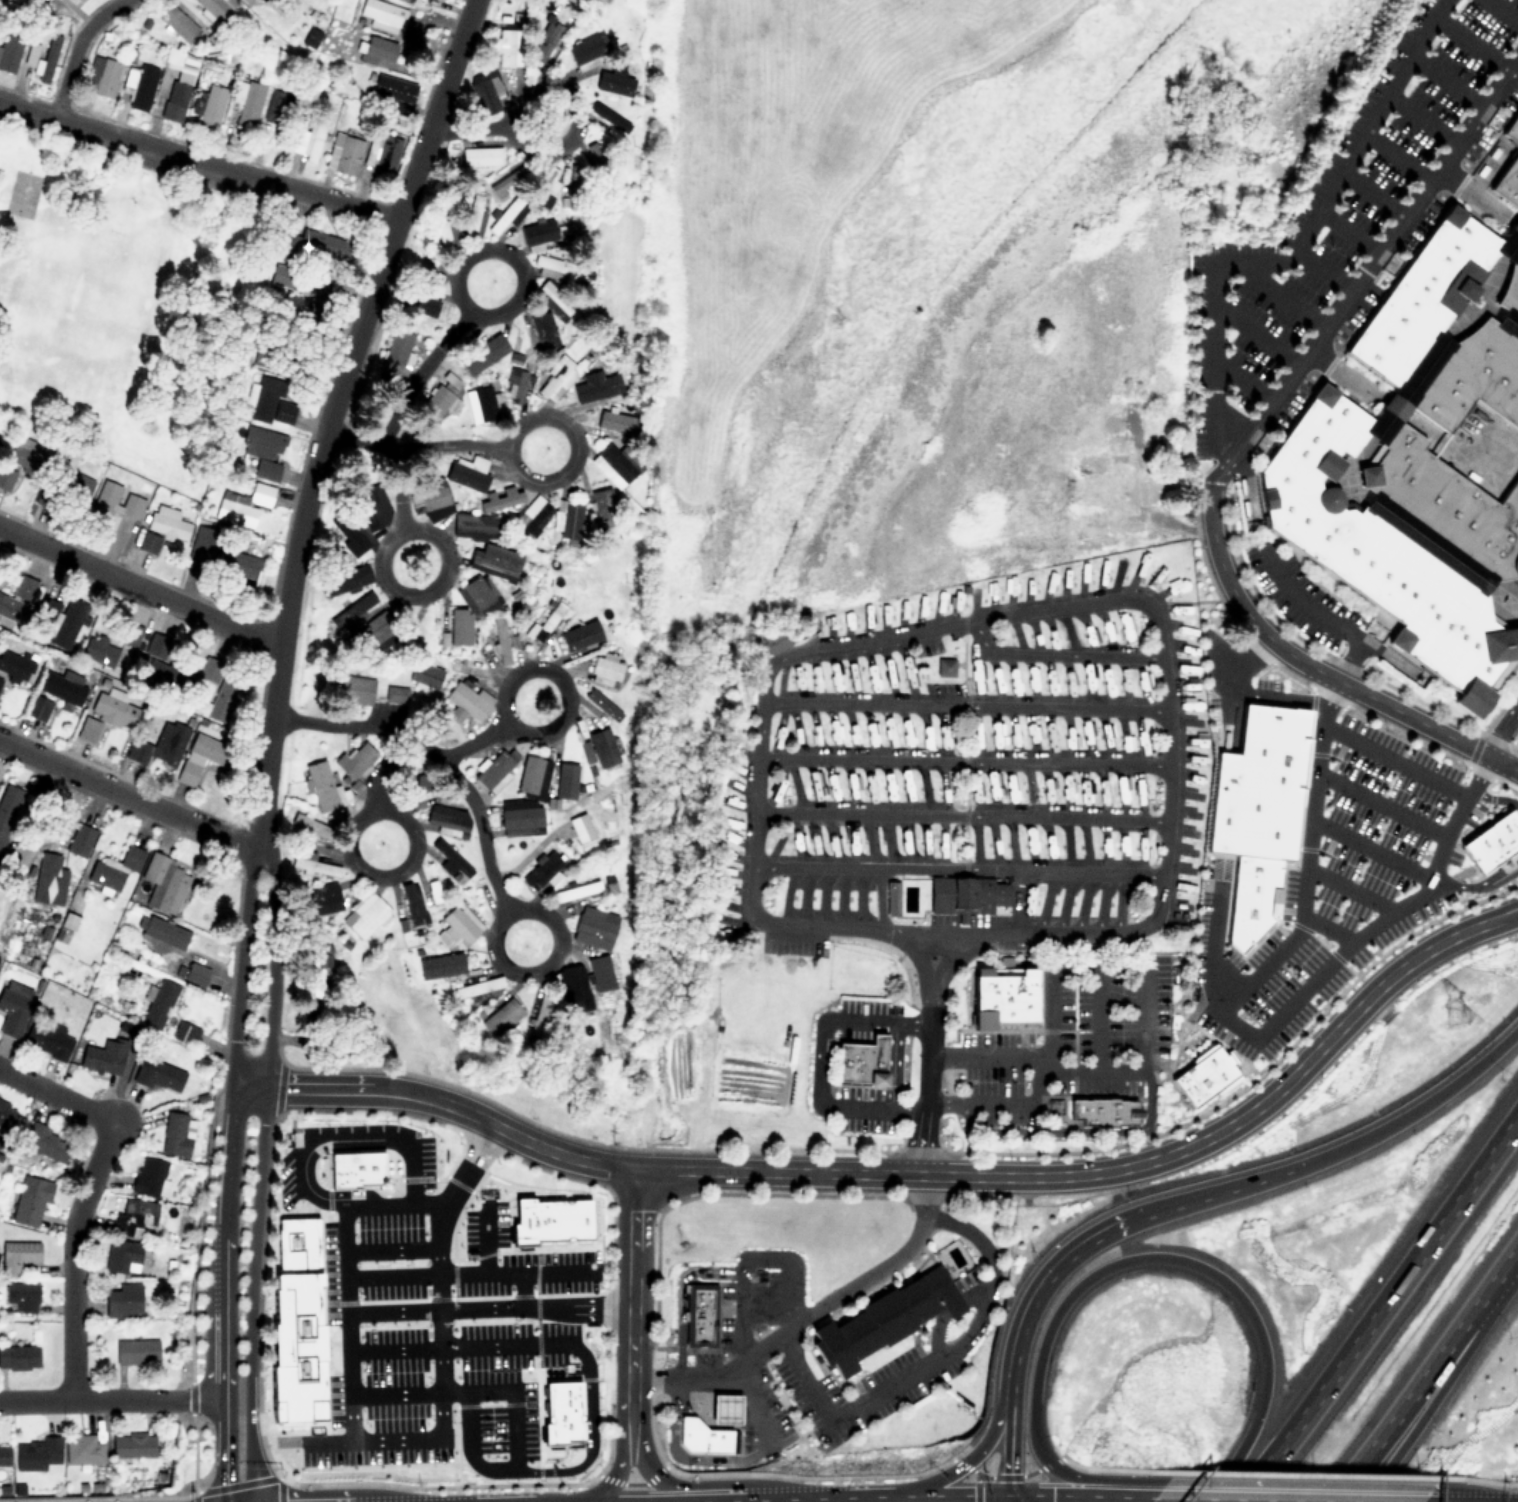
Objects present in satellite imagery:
building: (77, 0)
building: (441, 0)
building: (246, 1)
building: (216, 8)
road: (1501, 11)
building: (381, 14)
building: (177, 23)
building: (547, 42)
road: (1472, 43)
building: (505, 47)
road: (75, 49)
building: (9, 50)
building: (378, 51)
building: (581, 55)
building: (41, 56)
building: (103, 75)
road: (1446, 82)
building: (612, 83)
building: (139, 86)
building: (490, 89)
building: (529, 90)
building: (177, 91)
building: (393, 93)
building: (247, 102)
building: (208, 106)
building: (278, 106)
road: (575, 113)
building: (610, 116)
road: (1421, 119)
building: (1512, 127)
road: (469, 129)
building: (308, 139)
building: (383, 152)
building: (343, 153)
building: (481, 157)
road: (1395, 157)
road: (197, 162)
building: (602, 168)
building: (575, 175)
building: (1507, 181)
building: (548, 182)
road: (1371, 194)
road: (1475, 195)
building: (22, 196)
building: (504, 215)
building: (467, 223)
road: (1515, 224)
parking lot: (1342, 230)
road: (1347, 231)
building: (442, 232)
building: (534, 235)
building: (1509, 239)
building: (314, 244)
road: (1510, 245)
road: (518, 254)
building: (545, 266)
road: (1321, 269)
road: (1364, 270)
building: (1510, 286)
building: (548, 293)
road: (1282, 293)
building: (1424, 293)
road: (1473, 297)
crop: (899, 300)
building: (318, 304)
building: (419, 306)
road: (1487, 306)
park: (123, 309)
road: (1214, 321)
road: (1509, 322)
building: (1509, 323)
road: (1255, 333)
building: (398, 348)
building: (486, 352)
road: (419, 372)
road: (1347, 373)
building: (559, 376)
building: (1472, 377)
road: (1243, 380)
building: (1407, 385)
building: (516, 387)
road: (1408, 388)
building: (404, 397)
building: (273, 401)
building: (439, 401)
building: (484, 402)
road: (1394, 408)
road: (330, 413)
building: (614, 421)
building: (1122, 421)
road: (414, 446)
road: (1454, 451)
road: (573, 452)
building: (17, 464)
building: (1090, 464)
building: (269, 470)
building: (468, 472)
road: (1348, 473)
building: (611, 476)
building: (69, 488)
road: (398, 488)
building: (261, 495)
building: (602, 500)
building: (368, 501)
building: (113, 503)
building: (1446, 504)
building: (235, 512)
building: (532, 514)
building: (570, 519)
building: (1091, 523)
building: (1134, 523)
building: (163, 527)
building: (471, 527)
building: (1427, 544)
road: (1427, 544)
building: (198, 550)
building: (1381, 557)
building: (493, 560)
road: (445, 564)
building: (233, 566)
building: (345, 578)
building: (1155, 579)
road: (139, 586)
building: (477, 592)
road: (1503, 597)
parking lot: (1304, 599)
building: (15, 603)
building: (48, 607)
building: (354, 608)
road: (985, 618)
building: (459, 628)
building: (1126, 628)
building: (128, 634)
building: (576, 636)
building: (376, 637)
building: (501, 639)
building: (774, 641)
building: (99, 650)
road: (1058, 653)
road: (1239, 658)
building: (14, 666)
building: (606, 666)
building: (160, 667)
road: (1315, 668)
building: (425, 674)
road: (319, 676)
building: (1089, 680)
building: (976, 682)
building: (1051, 682)
building: (1070, 682)
building: (1143, 687)
building: (221, 688)
building: (349, 688)
building: (54, 694)
building: (395, 694)
road: (1274, 695)
building: (469, 700)
road: (566, 704)
road: (965, 705)
building: (114, 708)
building: (87, 727)
road: (1500, 730)
building: (590, 734)
parking lot: (1514, 739)
road: (475, 740)
building: (159, 745)
road: (439, 754)
building: (202, 756)
road: (1389, 758)
building: (357, 759)
road: (964, 761)
road: (378, 768)
building: (493, 769)
building: (530, 774)
building: (320, 785)
building: (419, 785)
road: (1491, 795)
road: (130, 796)
road: (1375, 802)
building: (9, 808)
building: (1255, 812)
road: (961, 814)
building: (1357, 817)
building: (521, 821)
building: (303, 823)
building: (580, 828)
building: (79, 839)
building: (1491, 841)
road: (415, 846)
road: (1368, 846)
building: (451, 860)
building: (302, 864)
building: (115, 867)
road: (957, 868)
building: (543, 876)
building: (49, 879)
building: (162, 882)
road: (1474, 883)
road: (1346, 886)
building: (967, 895)
building: (322, 902)
building: (411, 902)
road: (1019, 905)
building: (365, 915)
road: (1322, 926)
building: (456, 928)
building: (593, 929)
building: (162, 930)
road: (960, 932)
road: (559, 943)
road: (1210, 950)
road: (955, 953)
road: (916, 956)
road: (198, 959)
road: (241, 962)
road: (273, 963)
building: (440, 965)
road: (1122, 969)
building: (314, 974)
building: (196, 975)
building: (478, 986)
building: (576, 988)
building: (1002, 996)
building: (159, 1003)
building: (13, 1013)
power tower: (1459, 1014)
building: (501, 1017)
road: (1238, 1030)
building: (184, 1033)
building: (47, 1041)
road: (820, 1059)
building: (100, 1060)
building: (858, 1062)
road: (893, 1064)
building: (160, 1076)
building: (1201, 1076)
road: (1285, 1076)
road: (916, 1078)
road: (439, 1100)
building: (1102, 1109)
road: (1402, 1113)
building: (5, 1116)
parking lot: (355, 1127)
building: (175, 1135)
road: (340, 1136)
building: (47, 1142)
parking lot: (422, 1161)
building: (357, 1172)
road: (826, 1172)
building: (149, 1177)
parking lot: (282, 1177)
road: (84, 1196)
road: (1193, 1197)
road: (388, 1201)
building: (29, 1202)
building: (133, 1218)
building: (554, 1223)
road: (483, 1239)
road: (226, 1241)
road: (385, 1248)
building: (121, 1255)
building: (16, 1256)
parking lot: (516, 1260)
road: (1114, 1260)
road: (509, 1271)
road: (433, 1278)
road: (1039, 1284)
road: (519, 1288)
road: (253, 1293)
building: (21, 1297)
road: (627, 1300)
building: (123, 1302)
building: (395, 1304)
road: (1379, 1304)
road: (484, 1306)
building: (697, 1313)
building: (880, 1319)
road: (342, 1326)
building: (303, 1328)
road: (784, 1329)
parking lot: (373, 1341)
road: (454, 1345)
building: (136, 1352)
road: (763, 1352)
building: (19, 1358)
road: (929, 1359)
road: (727, 1369)
road: (1426, 1375)
road: (1436, 1387)
parking lot: (502, 1390)
road: (110, 1400)
road: (511, 1407)
building: (723, 1408)
gas station: (723, 1408)
building: (563, 1416)
road: (587, 1433)
building: (698, 1436)
road: (1007, 1441)
building: (133, 1446)
road: (364, 1448)
road: (221, 1449)
building: (83, 1451)
road: (973, 1451)
building: (4, 1455)
building: (37, 1455)
road: (664, 1466)
road: (1112, 1469)
road: (612, 1471)
road: (746, 1473)
road: (1301, 1475)
road: (1004, 1476)
road: (1476, 1479)
road: (631, 1482)
road: (705, 1482)
road: (1296, 1483)
road: (1464, 1487)
traffic signals: (1007, 1494)
road: (1078, 1495)
road: (794, 1497)
road: (1284, 1499)

